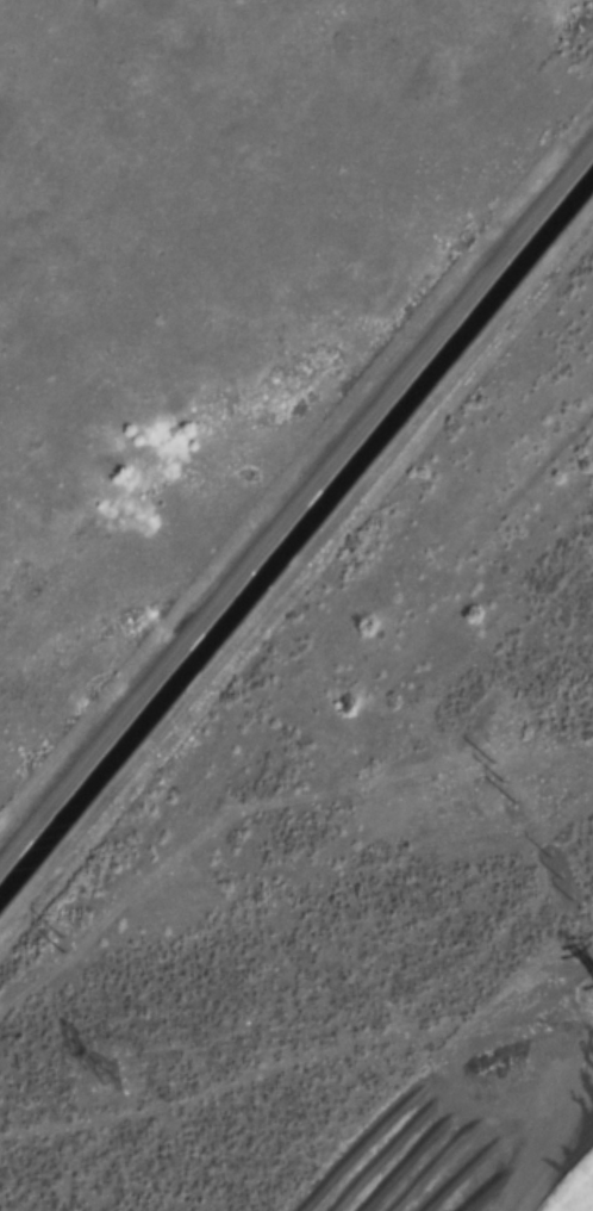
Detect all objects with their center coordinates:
power tower: (554, 876)
power tower: (62, 948)
power tower: (88, 1075)

